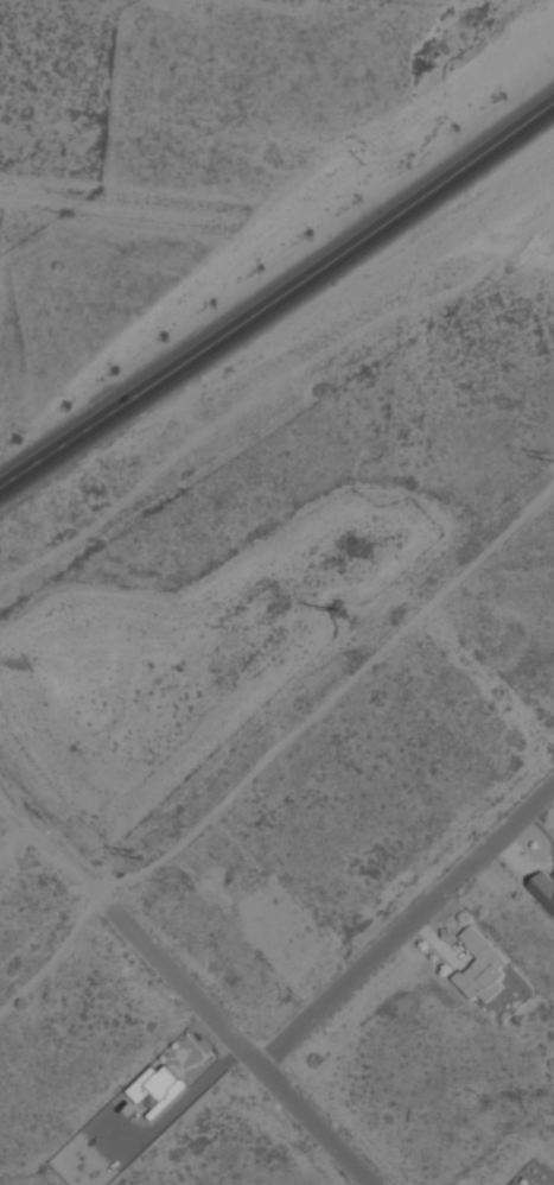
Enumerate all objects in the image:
road: (279, 296)
power tower: (552, 463)
power tower: (337, 610)
power tower: (138, 860)
road: (406, 926)
building: (480, 967)
building: (511, 977)
road: (254, 1063)
building: (157, 1089)

